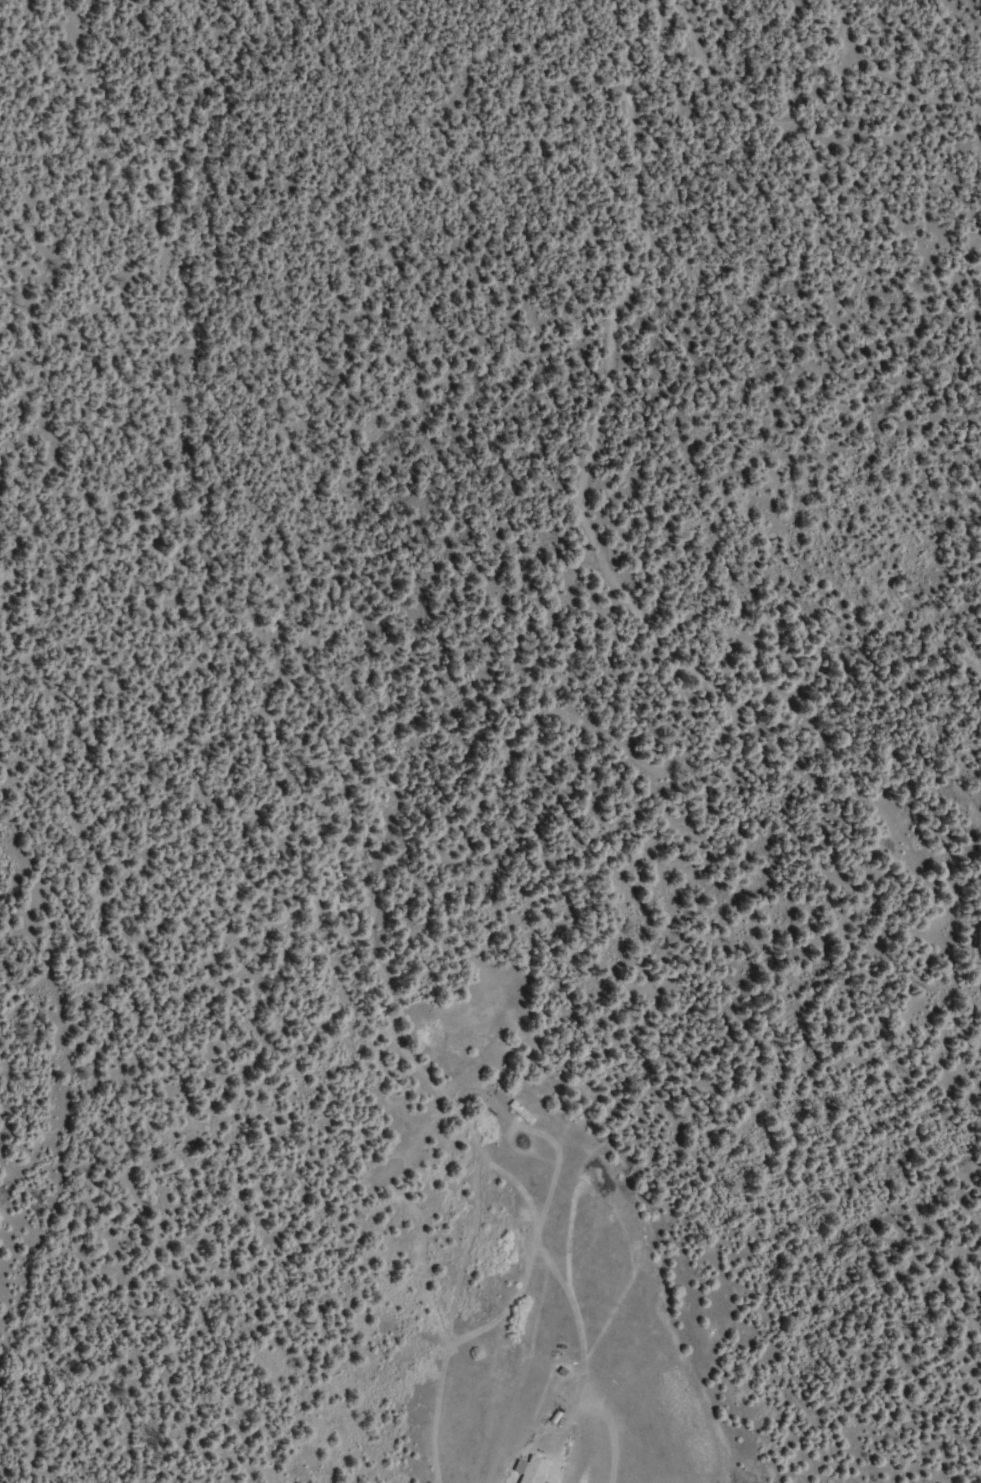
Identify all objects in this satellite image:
building: (535, 1470)

